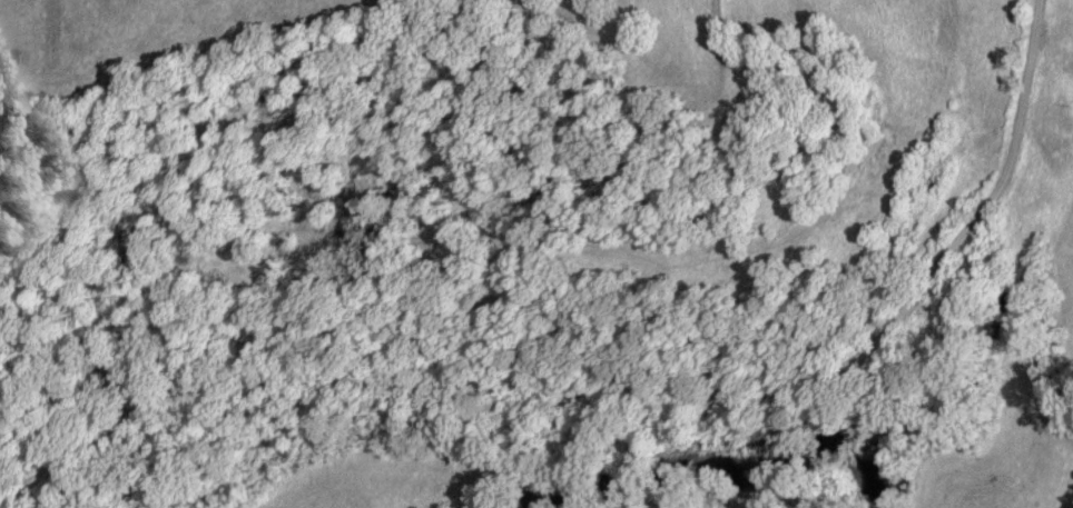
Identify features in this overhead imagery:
road: (620, 390)

